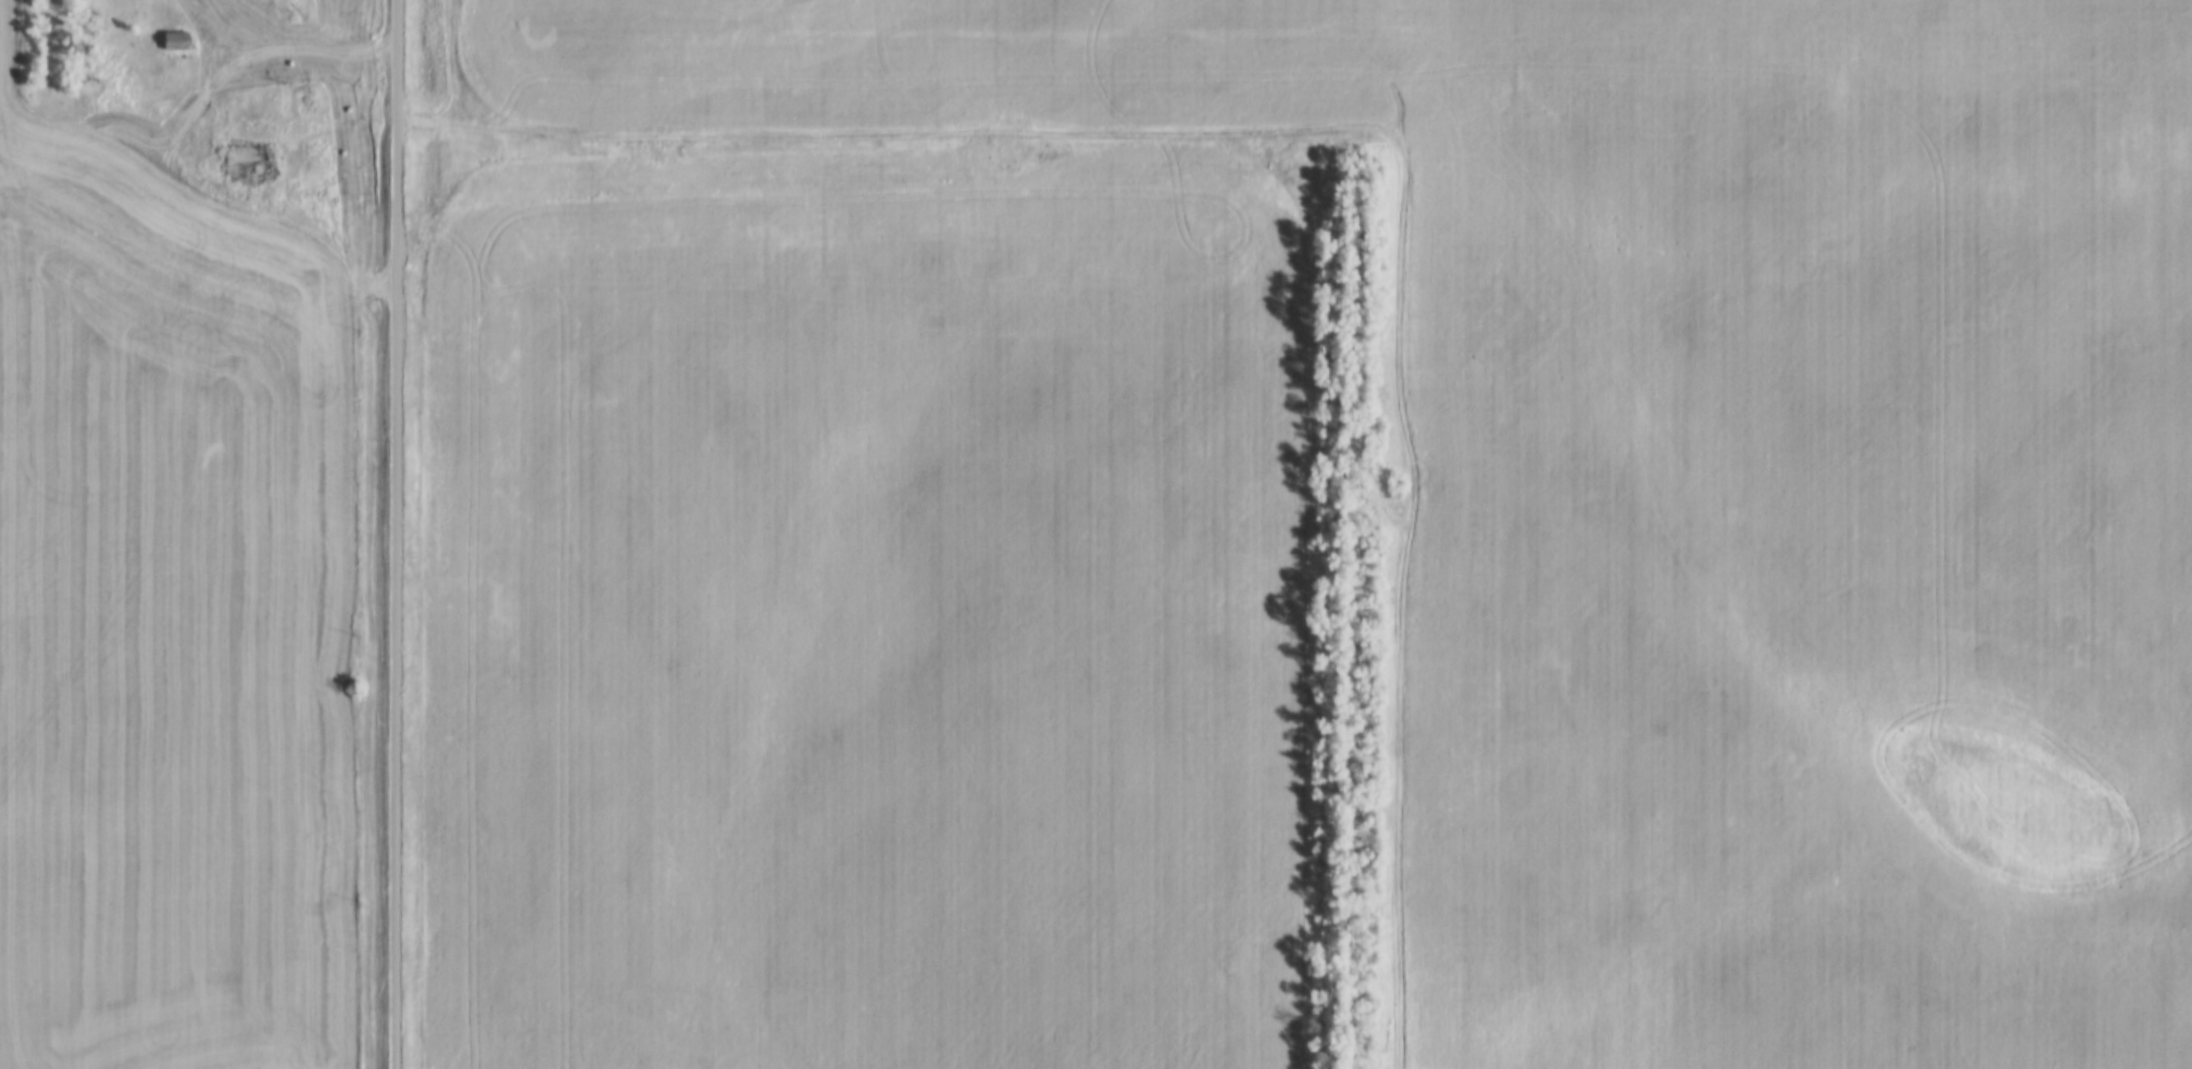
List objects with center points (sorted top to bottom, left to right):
road: (176, 123)
building: (255, 162)
road: (397, 534)

